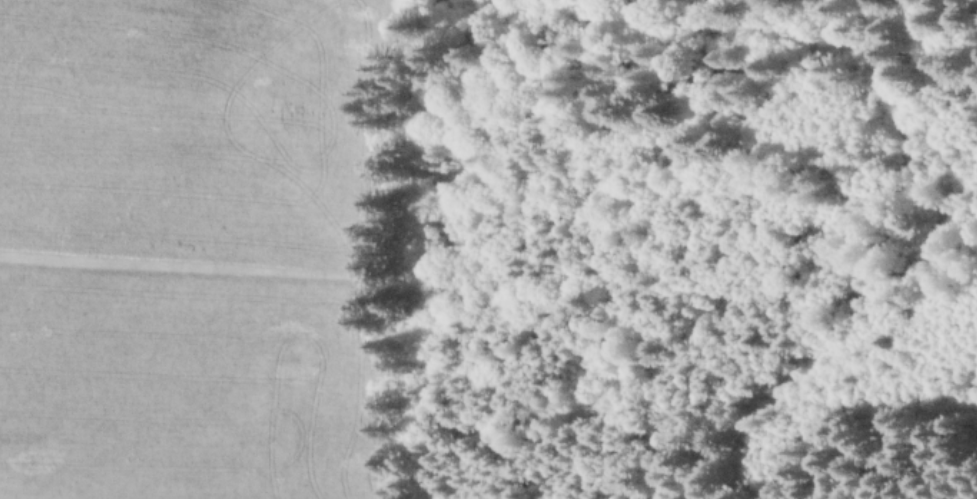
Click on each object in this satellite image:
crop: (204, 131)
crop: (193, 381)

